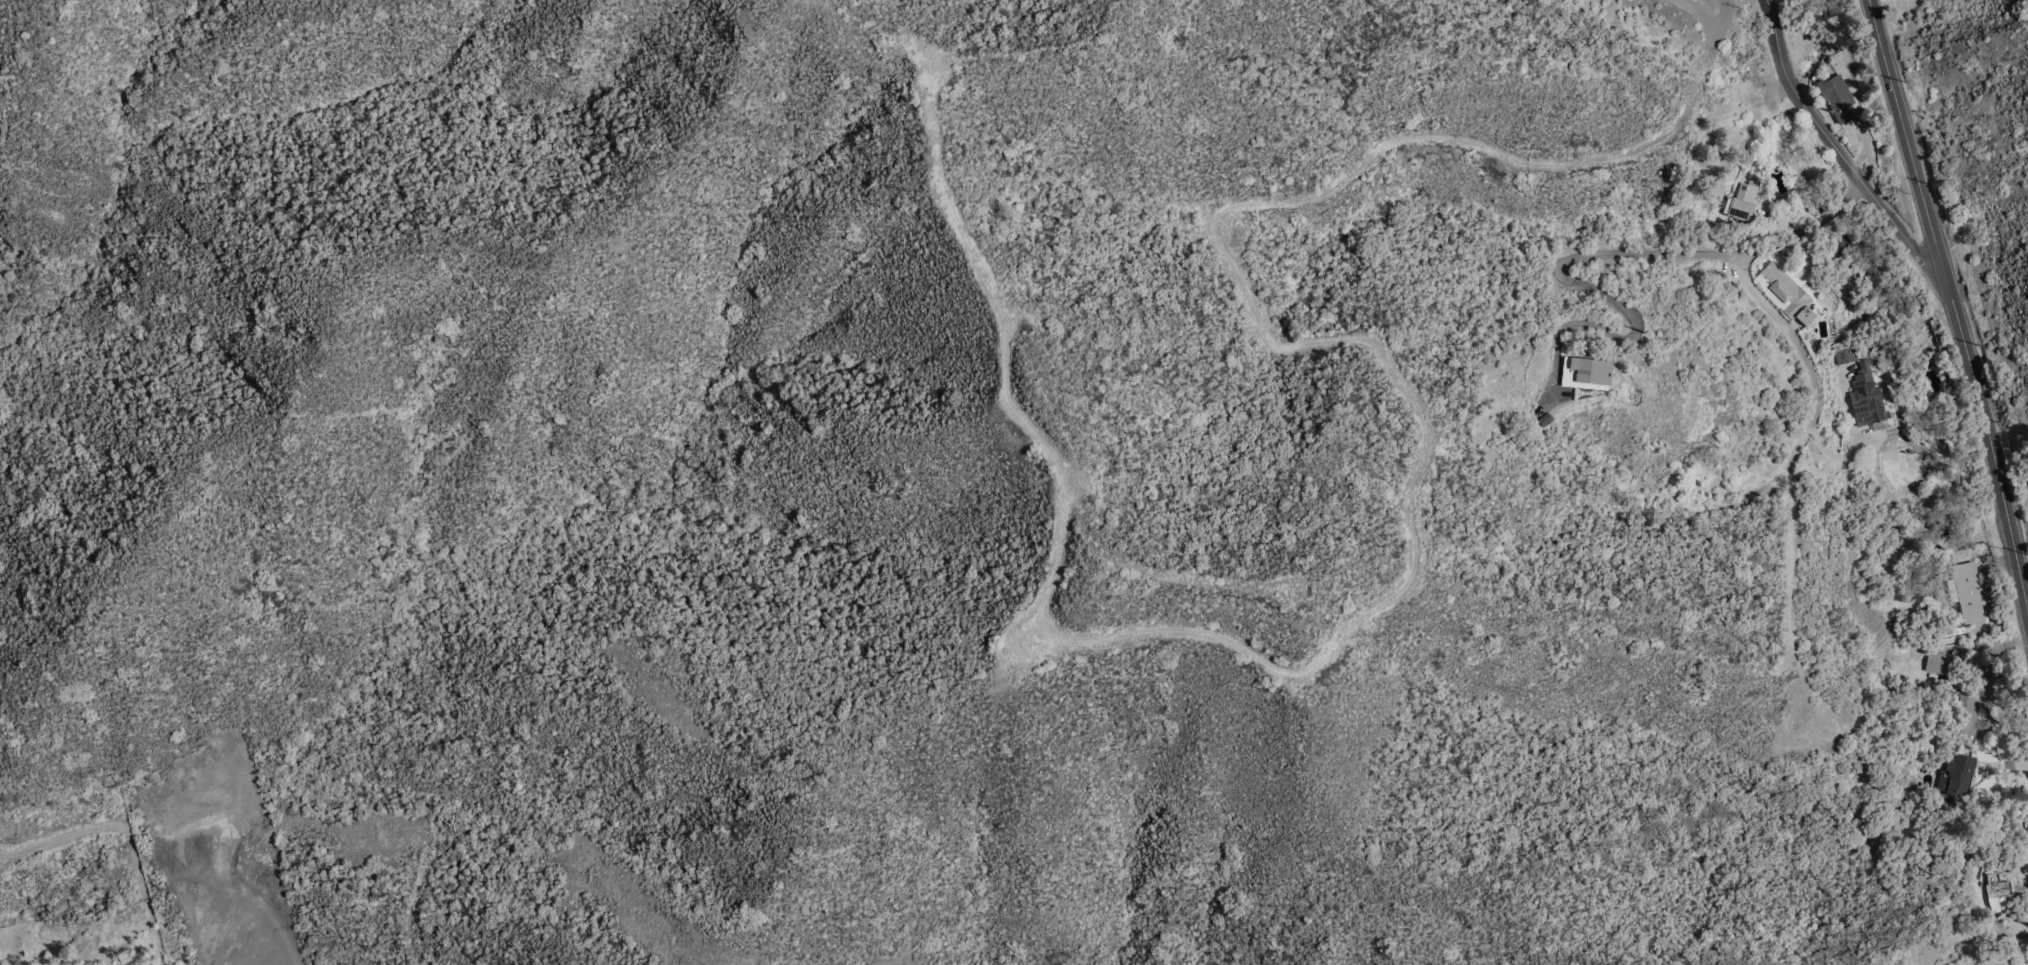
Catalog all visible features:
road: (1710, 25)
building: (1837, 98)
road: (1837, 151)
building: (1743, 202)
building: (1846, 239)
road: (1594, 260)
building: (1790, 295)
road: (1955, 304)
building: (1846, 356)
road: (1807, 371)
building: (1586, 374)
building: (1867, 398)
building: (1967, 592)
building: (1903, 626)
building: (1949, 634)
building: (1938, 663)
building: (1991, 667)
building: (1968, 711)
road: (1996, 767)
building: (1958, 775)
building: (1997, 891)
road: (2008, 936)

